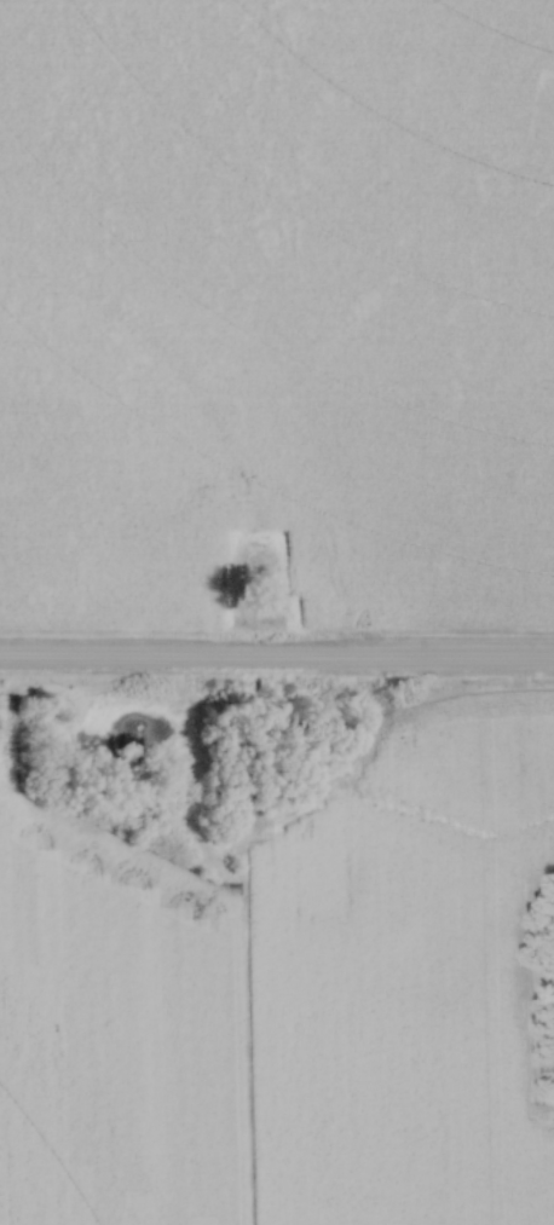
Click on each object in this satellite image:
road: (277, 668)
crop: (110, 1025)

